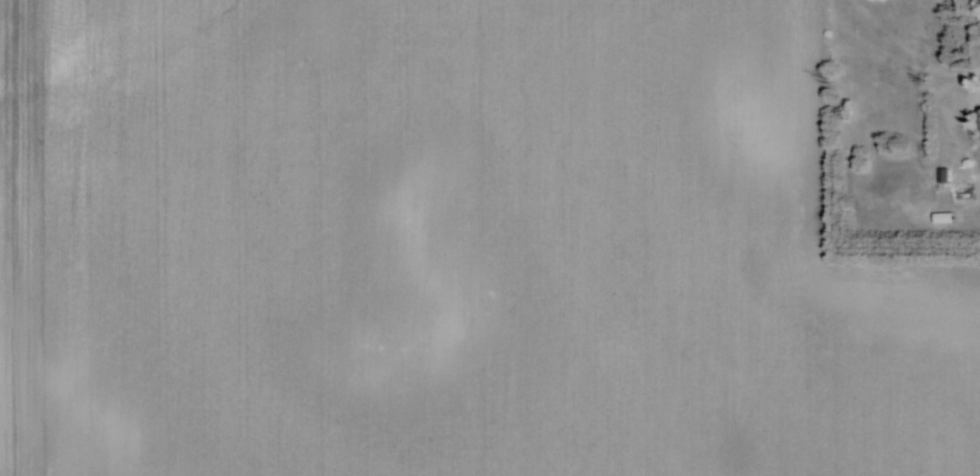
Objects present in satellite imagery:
building: (979, 111)
crop: (452, 247)

